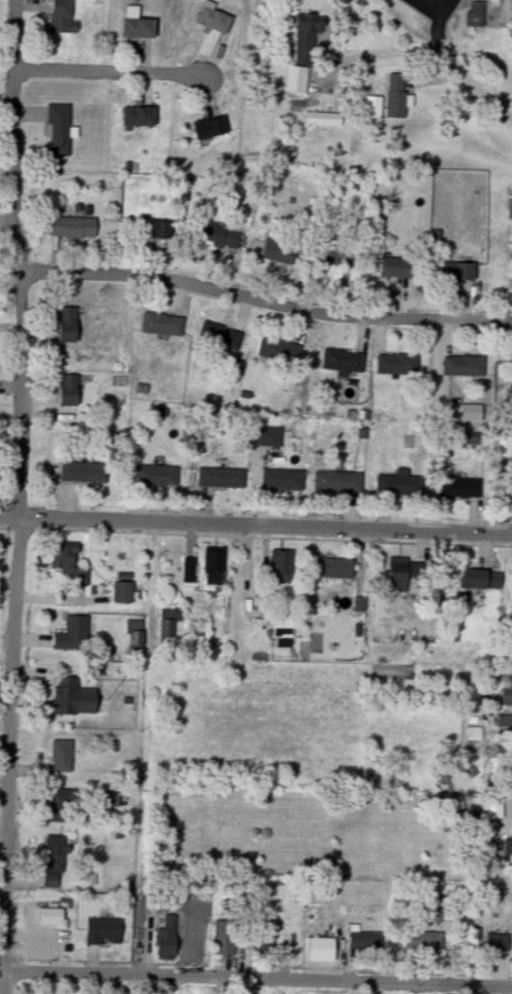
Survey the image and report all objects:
road: (433, 7)
building: (475, 15)
building: (63, 17)
building: (137, 25)
building: (213, 30)
building: (303, 53)
road: (457, 65)
road: (112, 81)
building: (396, 97)
building: (373, 107)
building: (139, 117)
building: (211, 128)
building: (59, 131)
building: (73, 228)
building: (156, 229)
building: (219, 237)
building: (279, 253)
building: (336, 257)
road: (20, 261)
building: (398, 268)
building: (459, 272)
road: (267, 310)
building: (68, 325)
building: (162, 325)
building: (220, 336)
building: (279, 350)
building: (343, 362)
building: (397, 365)
building: (464, 367)
building: (69, 391)
building: (269, 438)
building: (503, 447)
building: (83, 474)
building: (157, 477)
building: (221, 479)
building: (282, 481)
building: (338, 483)
building: (399, 485)
building: (460, 488)
road: (256, 530)
building: (69, 565)
building: (214, 567)
building: (335, 569)
building: (189, 571)
building: (280, 573)
building: (402, 575)
building: (480, 580)
building: (123, 593)
building: (168, 625)
building: (282, 628)
building: (73, 635)
building: (506, 698)
building: (72, 699)
building: (475, 735)
building: (61, 757)
road: (12, 758)
building: (494, 789)
building: (108, 799)
building: (61, 806)
building: (495, 810)
building: (510, 846)
building: (55, 856)
building: (103, 932)
building: (225, 939)
building: (167, 940)
building: (363, 941)
building: (420, 942)
building: (321, 950)
road: (2, 982)
road: (215, 988)

